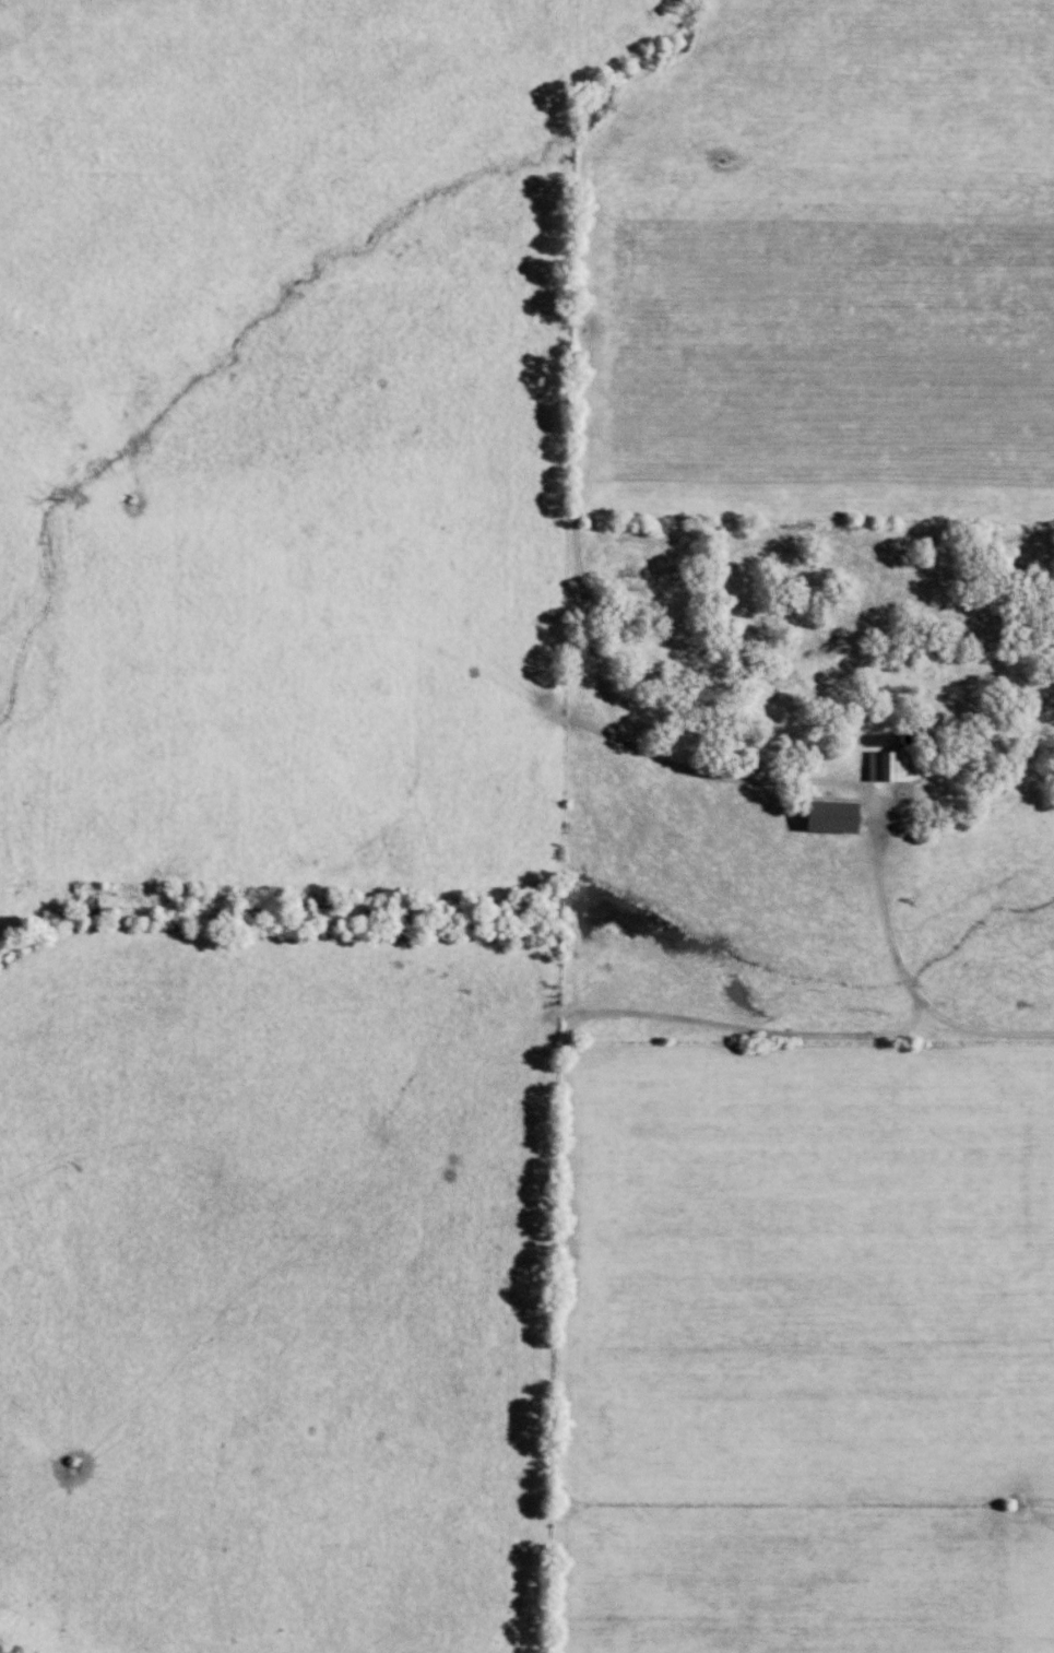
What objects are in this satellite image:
road: (822, 781)
building: (841, 815)
road: (913, 993)

